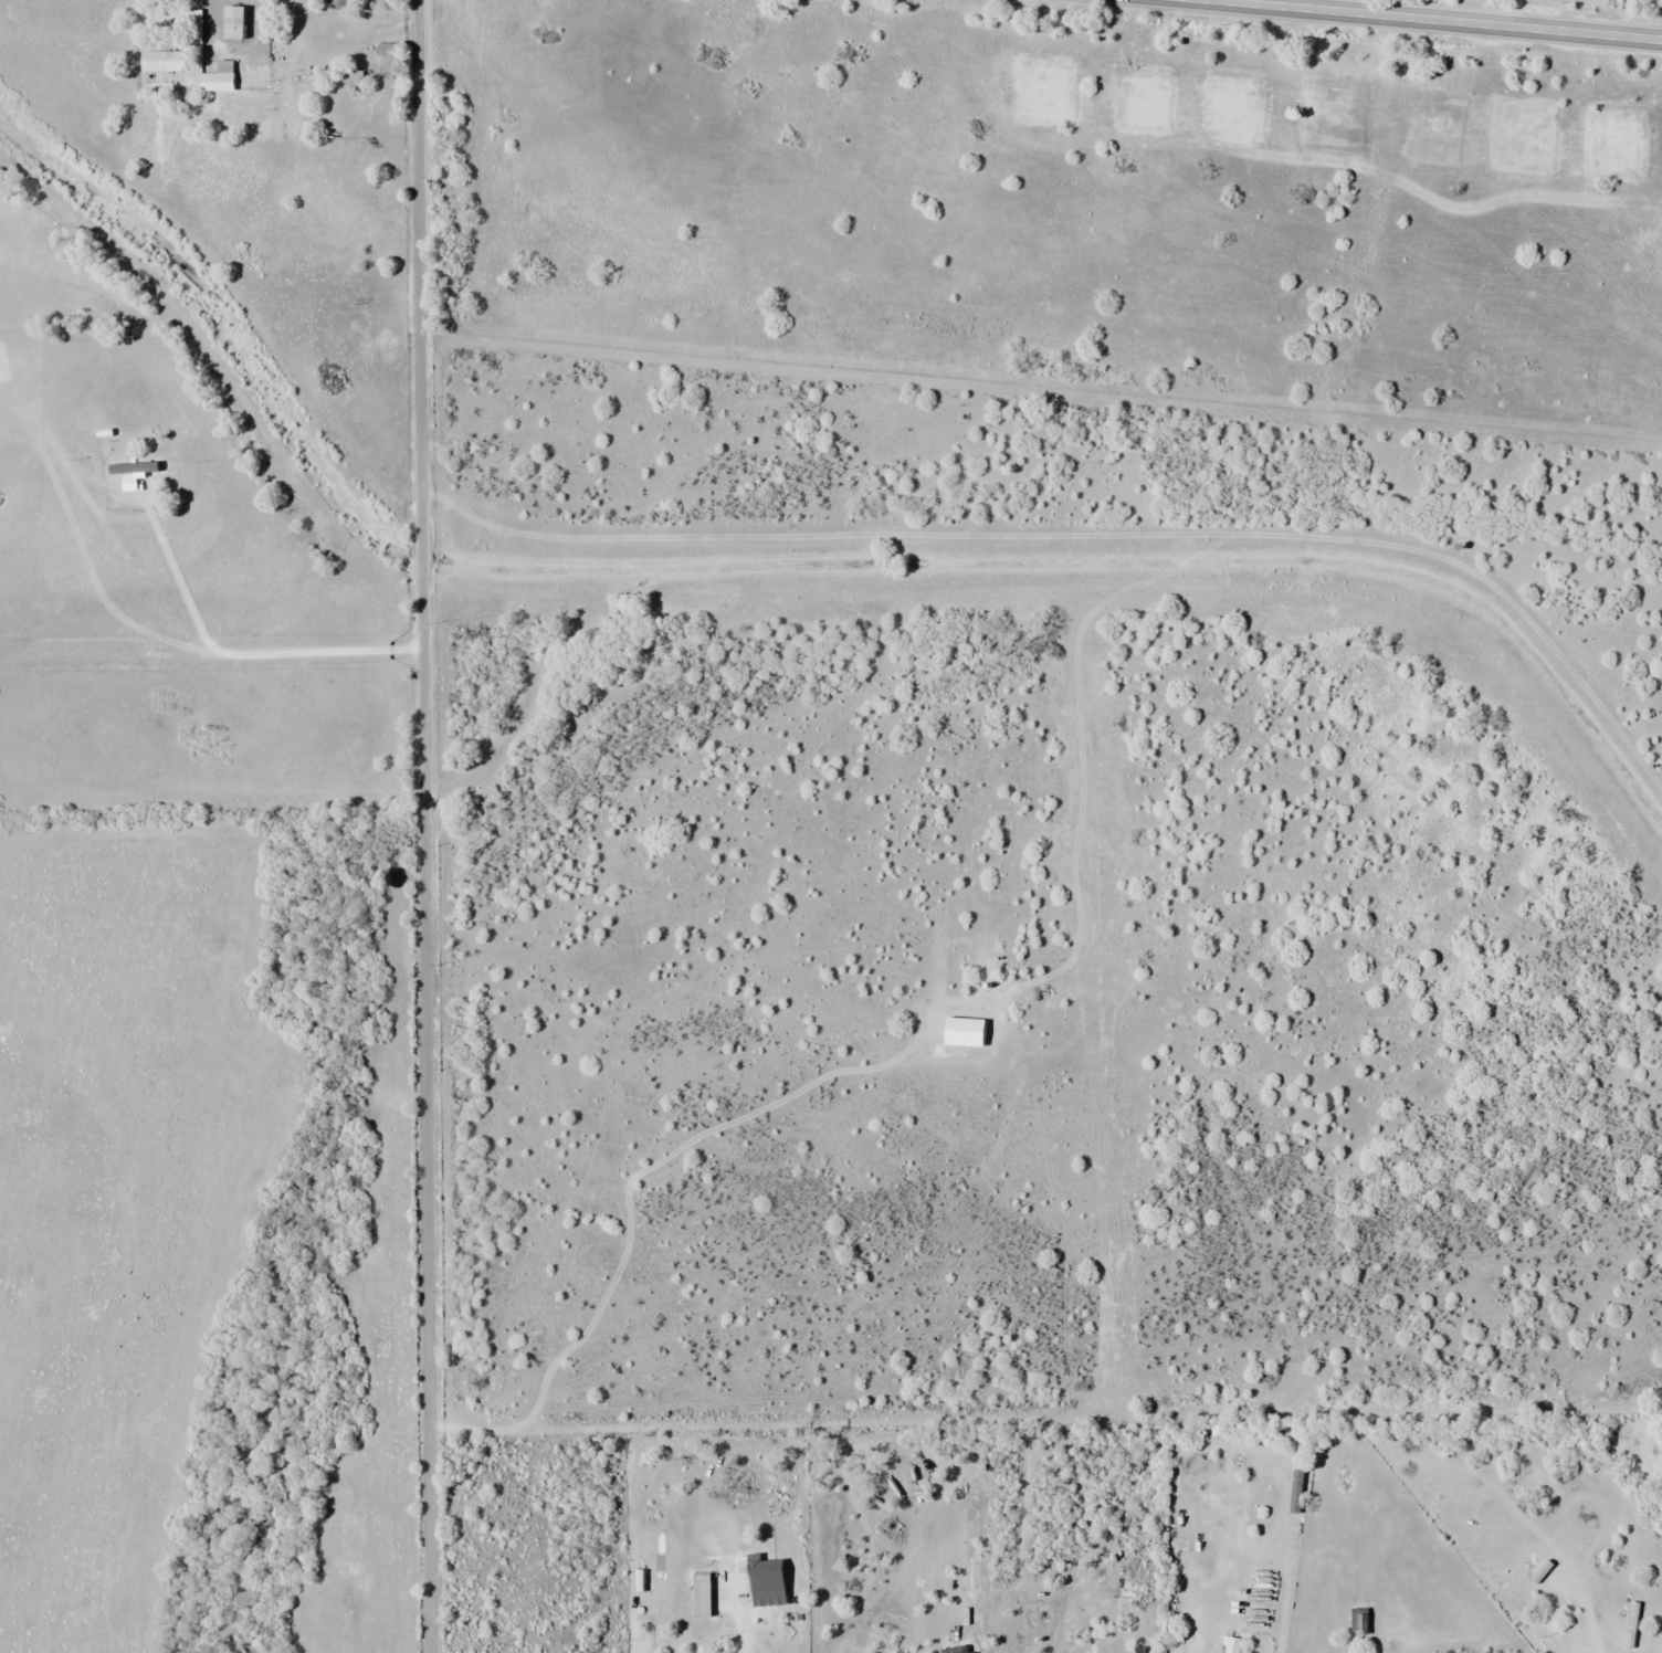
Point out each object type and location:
road: (1444, 19)
building: (240, 22)
building: (166, 60)
building: (222, 77)
road: (423, 826)
building: (701, 1594)

